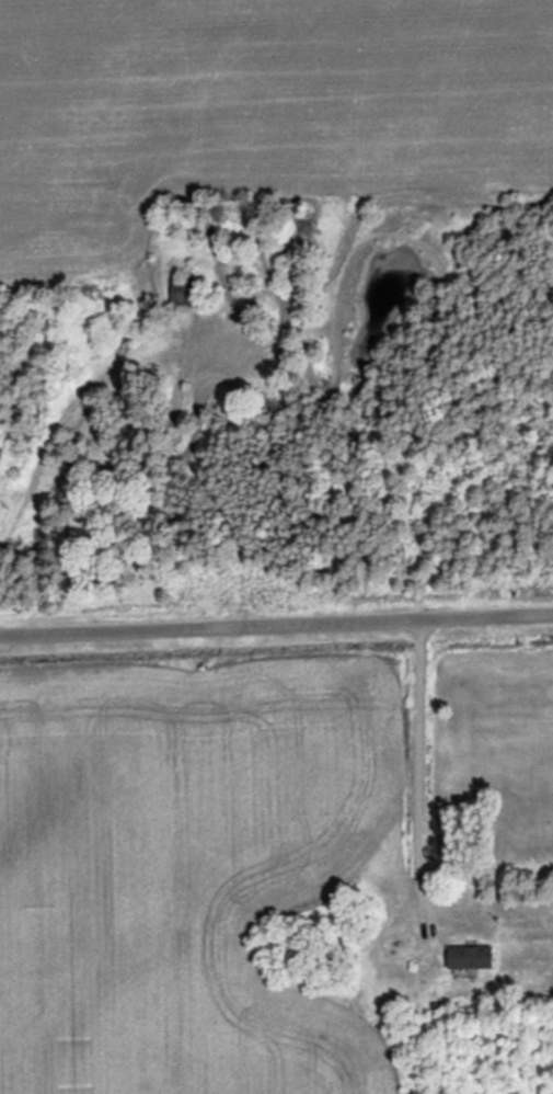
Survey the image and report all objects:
building: (185, 290)
road: (276, 627)
building: (466, 957)

